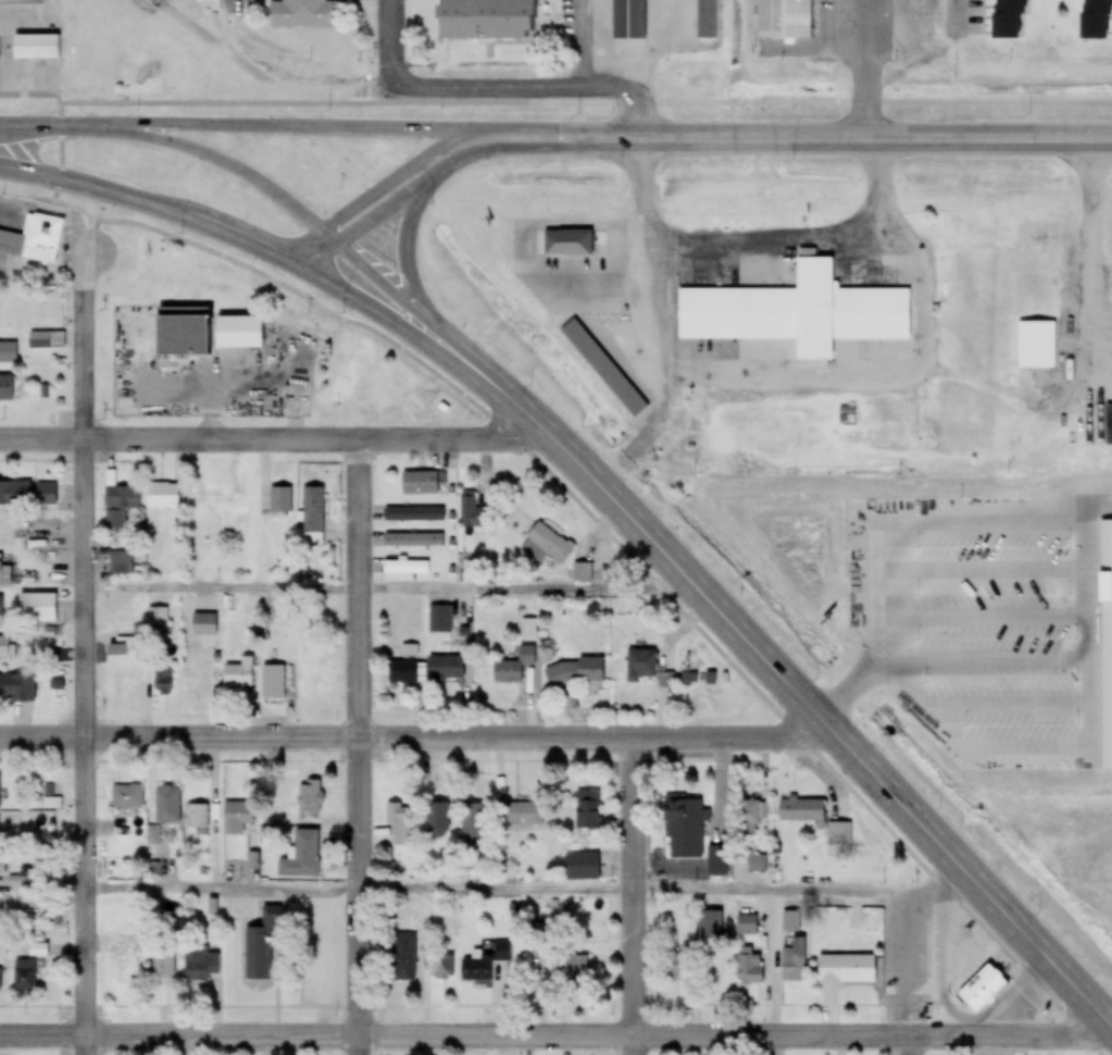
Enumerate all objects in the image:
road: (960, 5)
road: (234, 8)
building: (303, 14)
building: (486, 20)
building: (784, 20)
building: (1007, 20)
building: (1095, 20)
building: (629, 21)
building: (707, 21)
building: (36, 39)
road: (389, 41)
road: (533, 89)
road: (586, 100)
road: (707, 139)
road: (174, 201)
building: (34, 239)
building: (569, 244)
road: (740, 251)
road: (1087, 266)
building: (800, 312)
building: (182, 332)
building: (238, 332)
building: (47, 340)
building: (1036, 346)
building: (9, 353)
building: (604, 362)
road: (655, 383)
building: (5, 388)
building: (378, 396)
building: (847, 412)
road: (272, 438)
building: (420, 483)
building: (15, 494)
building: (163, 495)
building: (50, 496)
building: (207, 497)
building: (280, 500)
building: (120, 504)
building: (313, 511)
building: (473, 513)
building: (414, 514)
building: (2, 531)
building: (414, 541)
building: (546, 545)
building: (121, 563)
road: (1078, 563)
building: (401, 567)
building: (585, 573)
building: (5, 575)
road: (658, 585)
road: (386, 589)
building: (37, 607)
building: (1, 612)
building: (439, 620)
building: (158, 621)
building: (204, 625)
building: (315, 628)
road: (739, 635)
building: (4, 648)
building: (410, 651)
road: (86, 654)
building: (641, 667)
building: (514, 668)
building: (446, 670)
building: (402, 673)
building: (577, 673)
building: (239, 675)
building: (314, 680)
building: (163, 681)
building: (666, 681)
building: (273, 684)
building: (16, 688)
building: (123, 693)
road: (414, 738)
road: (359, 746)
building: (127, 798)
building: (310, 798)
building: (167, 806)
building: (801, 812)
building: (587, 814)
building: (753, 815)
building: (524, 816)
building: (237, 818)
building: (437, 819)
building: (683, 819)
building: (198, 820)
building: (472, 826)
building: (402, 827)
building: (839, 835)
building: (153, 837)
building: (302, 857)
building: (717, 862)
building: (2, 865)
building: (758, 865)
building: (583, 868)
road: (527, 891)
road: (630, 897)
building: (791, 922)
building: (747, 923)
building: (710, 927)
building: (262, 944)
building: (405, 949)
building: (501, 953)
building: (794, 960)
building: (128, 963)
building: (163, 964)
building: (201, 966)
building: (442, 968)
building: (679, 968)
building: (749, 968)
building: (476, 969)
building: (570, 970)
building: (847, 970)
building: (24, 977)
building: (0, 980)
building: (984, 991)
road: (554, 1040)
road: (907, 1046)

